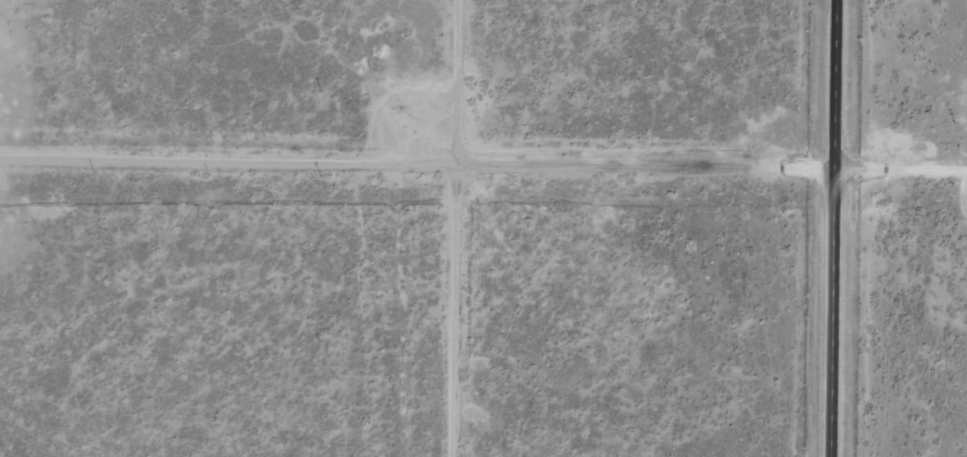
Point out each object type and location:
road: (403, 102)
road: (483, 197)
road: (831, 228)

